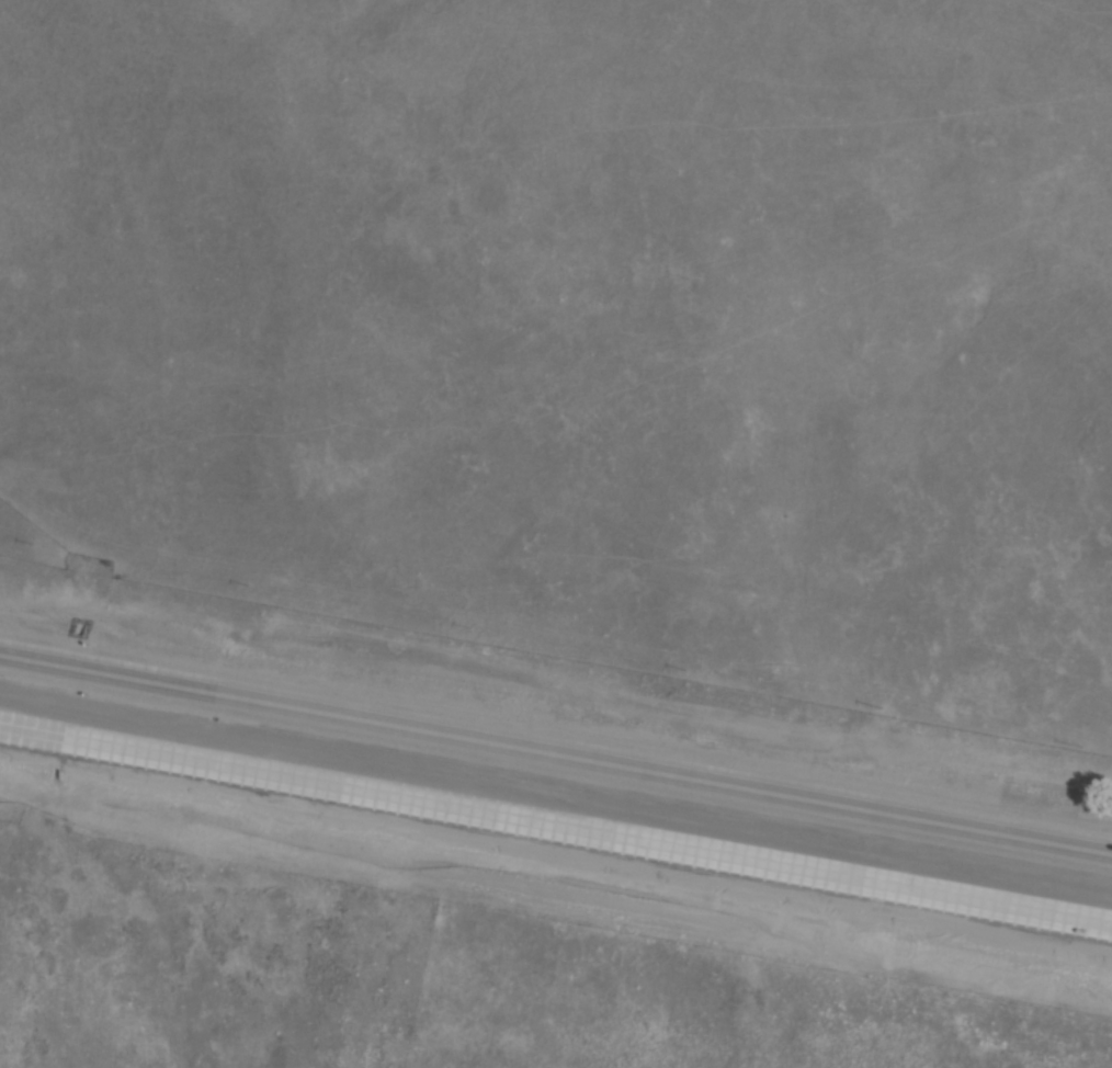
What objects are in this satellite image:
road: (556, 754)
road: (556, 821)

